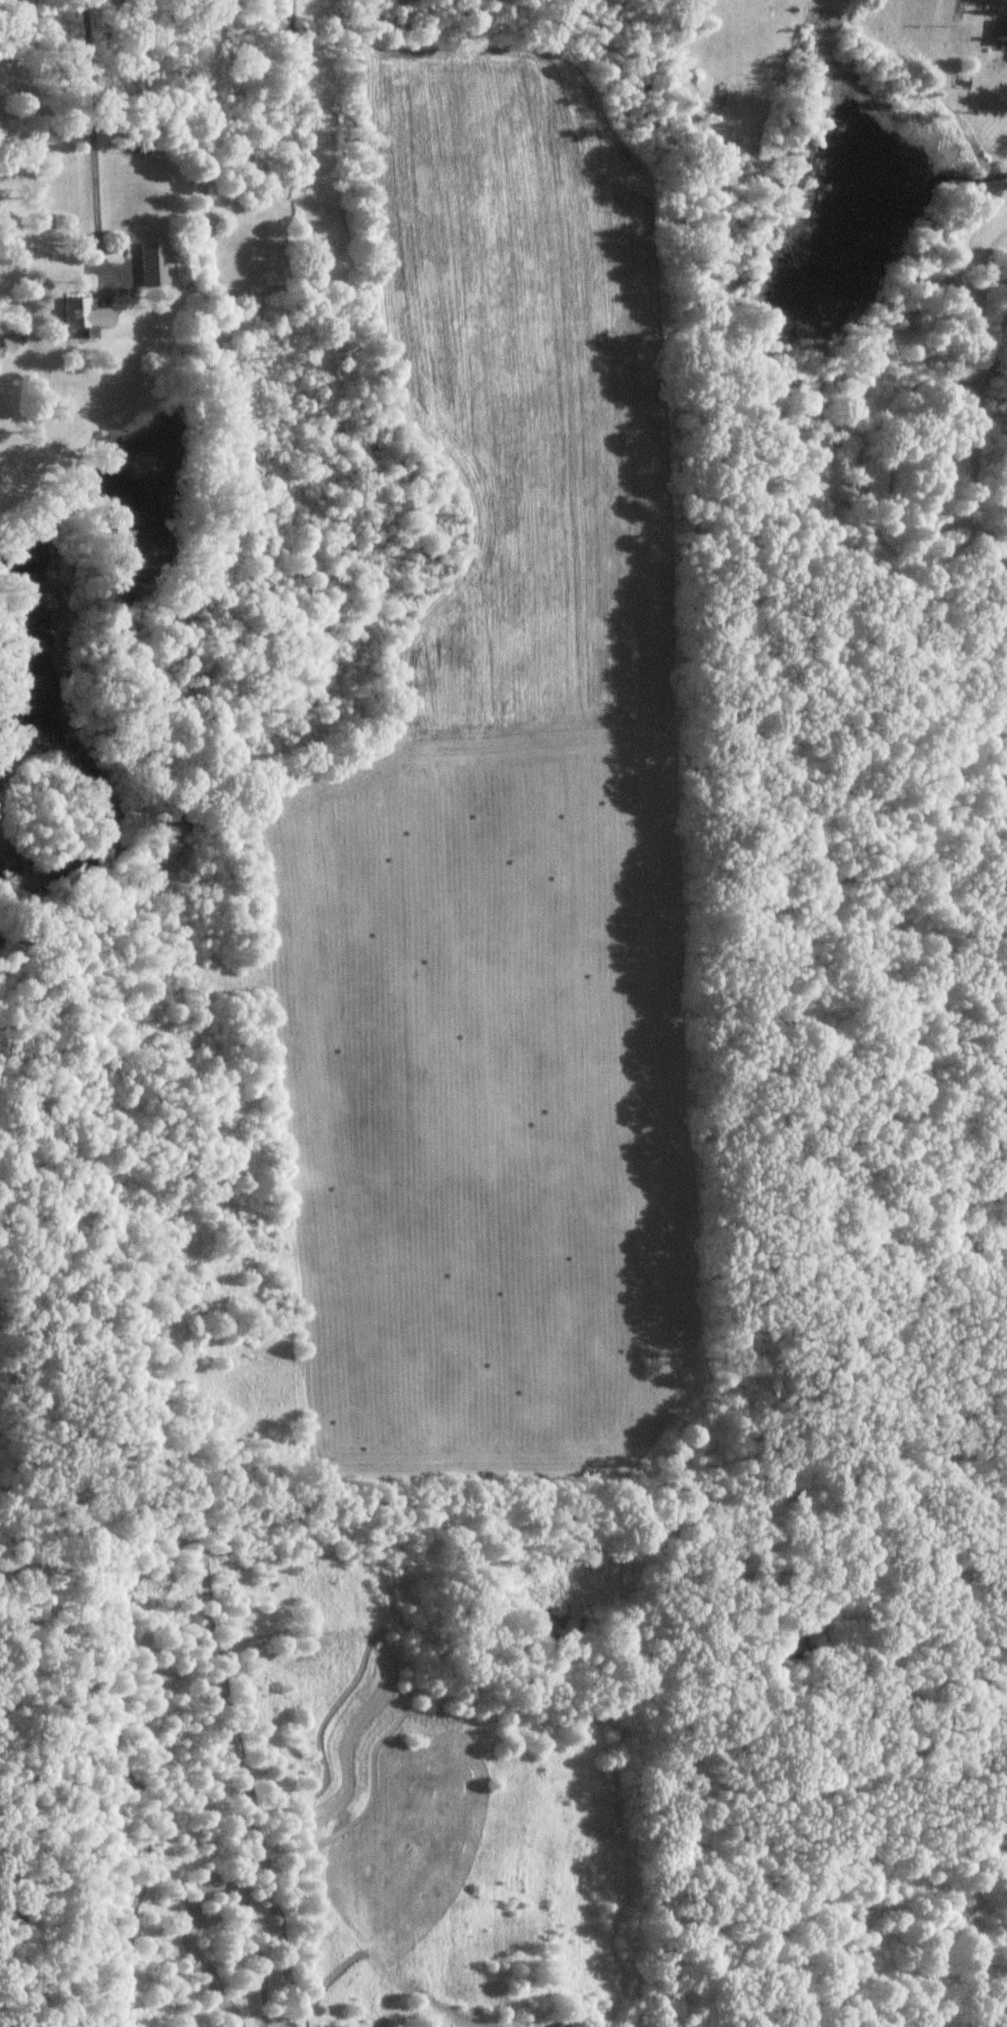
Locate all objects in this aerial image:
building: (1002, 35)
road: (94, 136)
building: (151, 266)
building: (87, 316)

